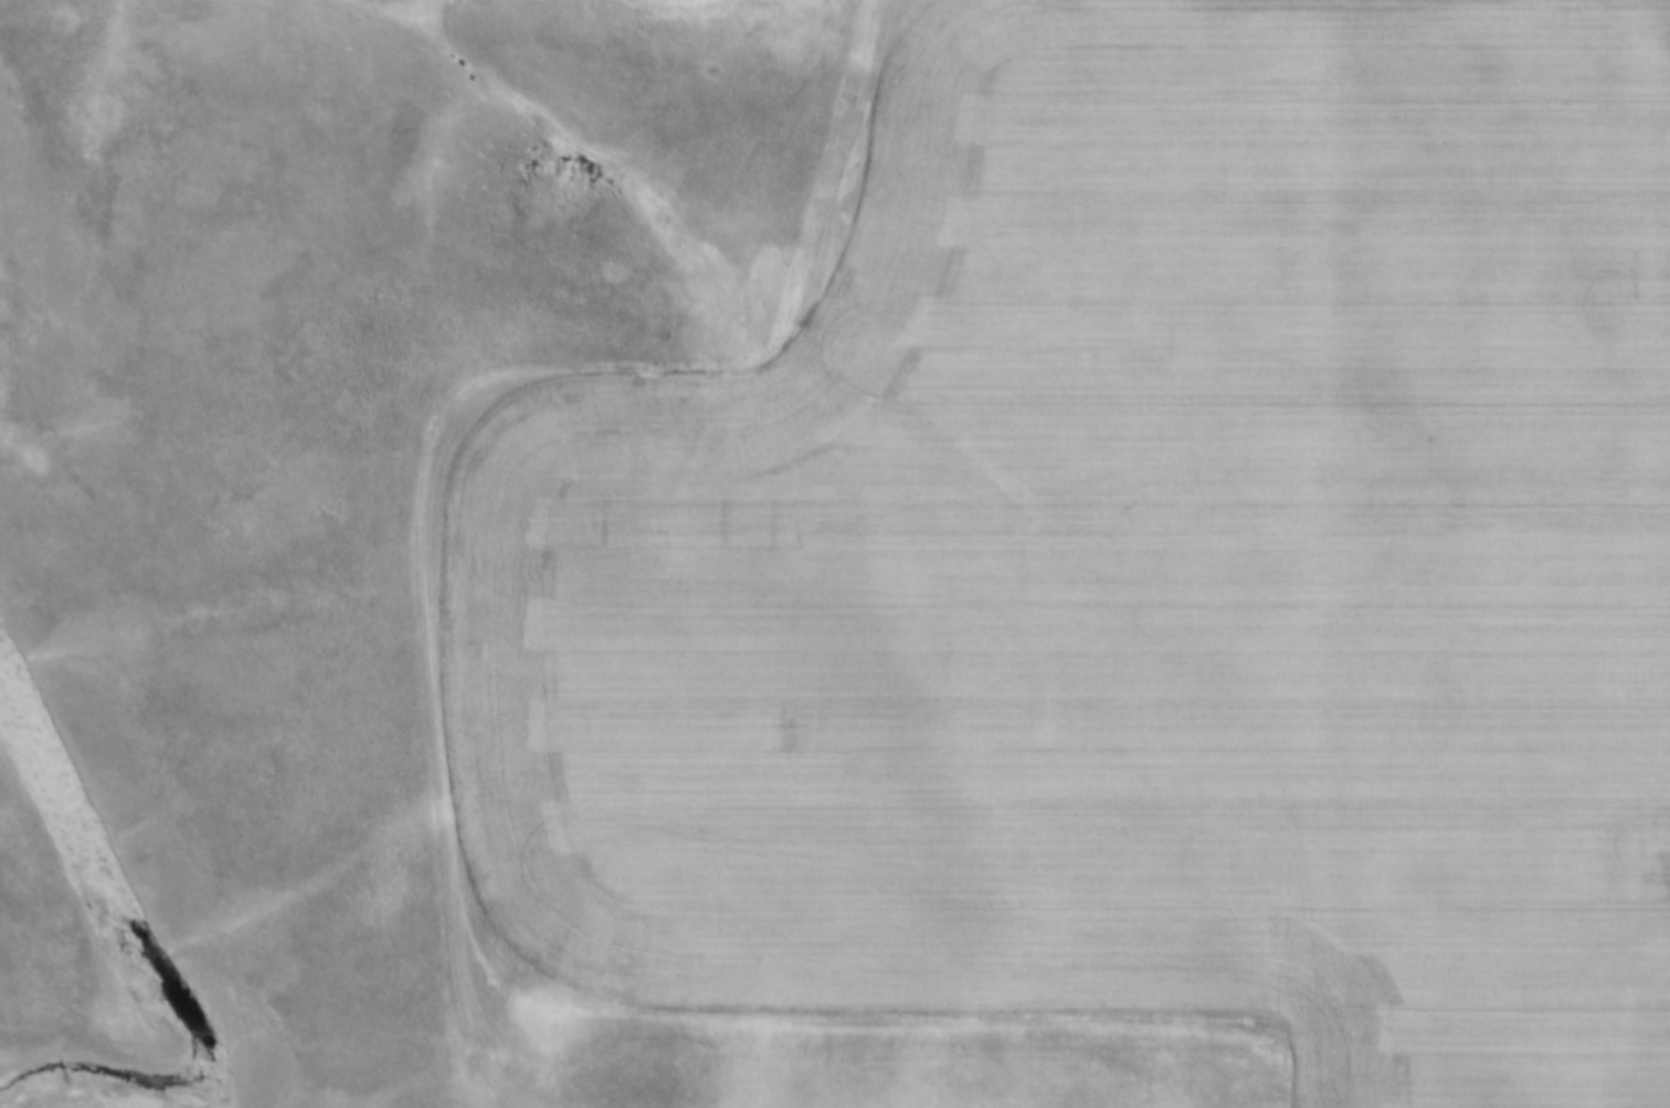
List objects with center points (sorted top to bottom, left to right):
road: (455, 407)

